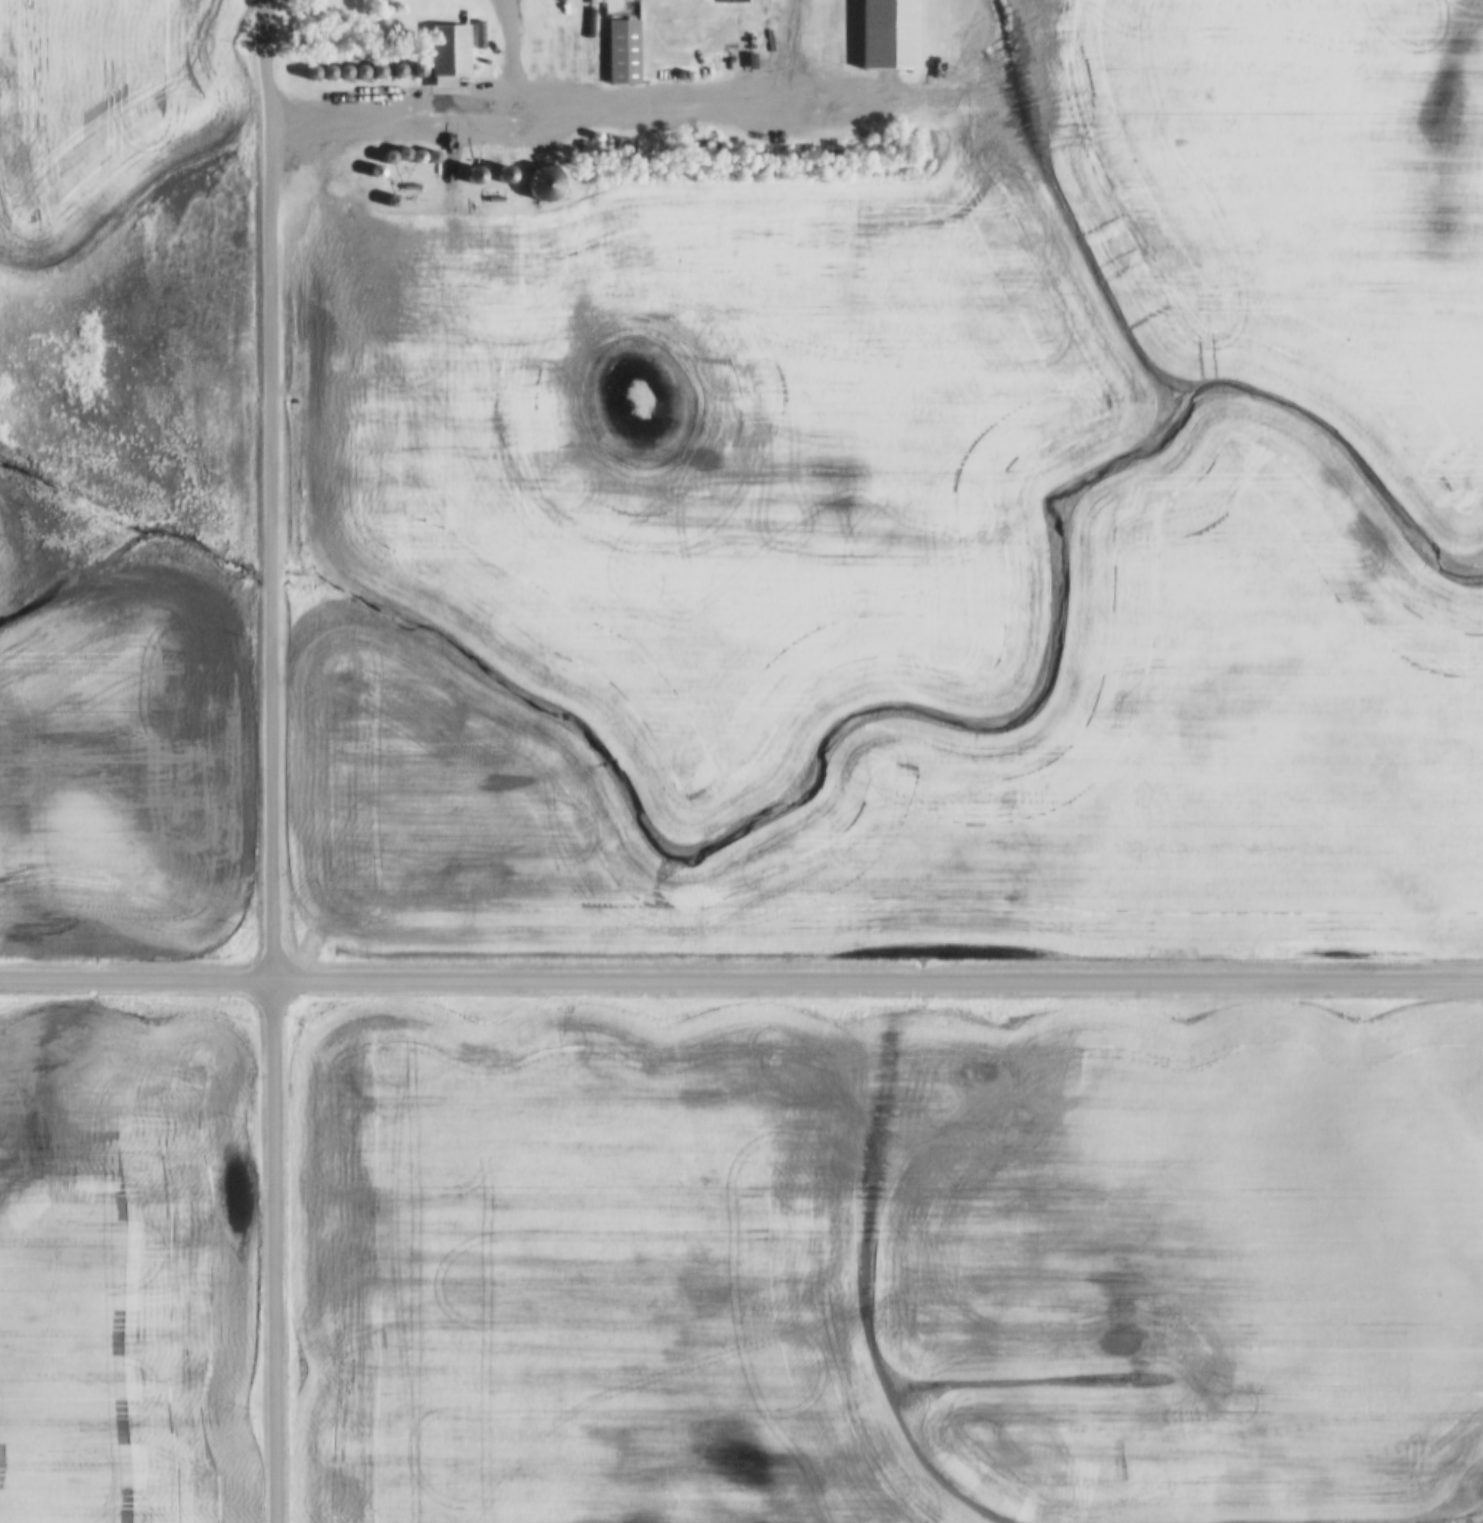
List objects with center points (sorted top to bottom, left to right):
building: (450, 49)
building: (623, 51)
road: (434, 103)
building: (476, 174)
building: (506, 174)
building: (543, 182)
road: (273, 490)
road: (741, 983)
road: (276, 1252)

